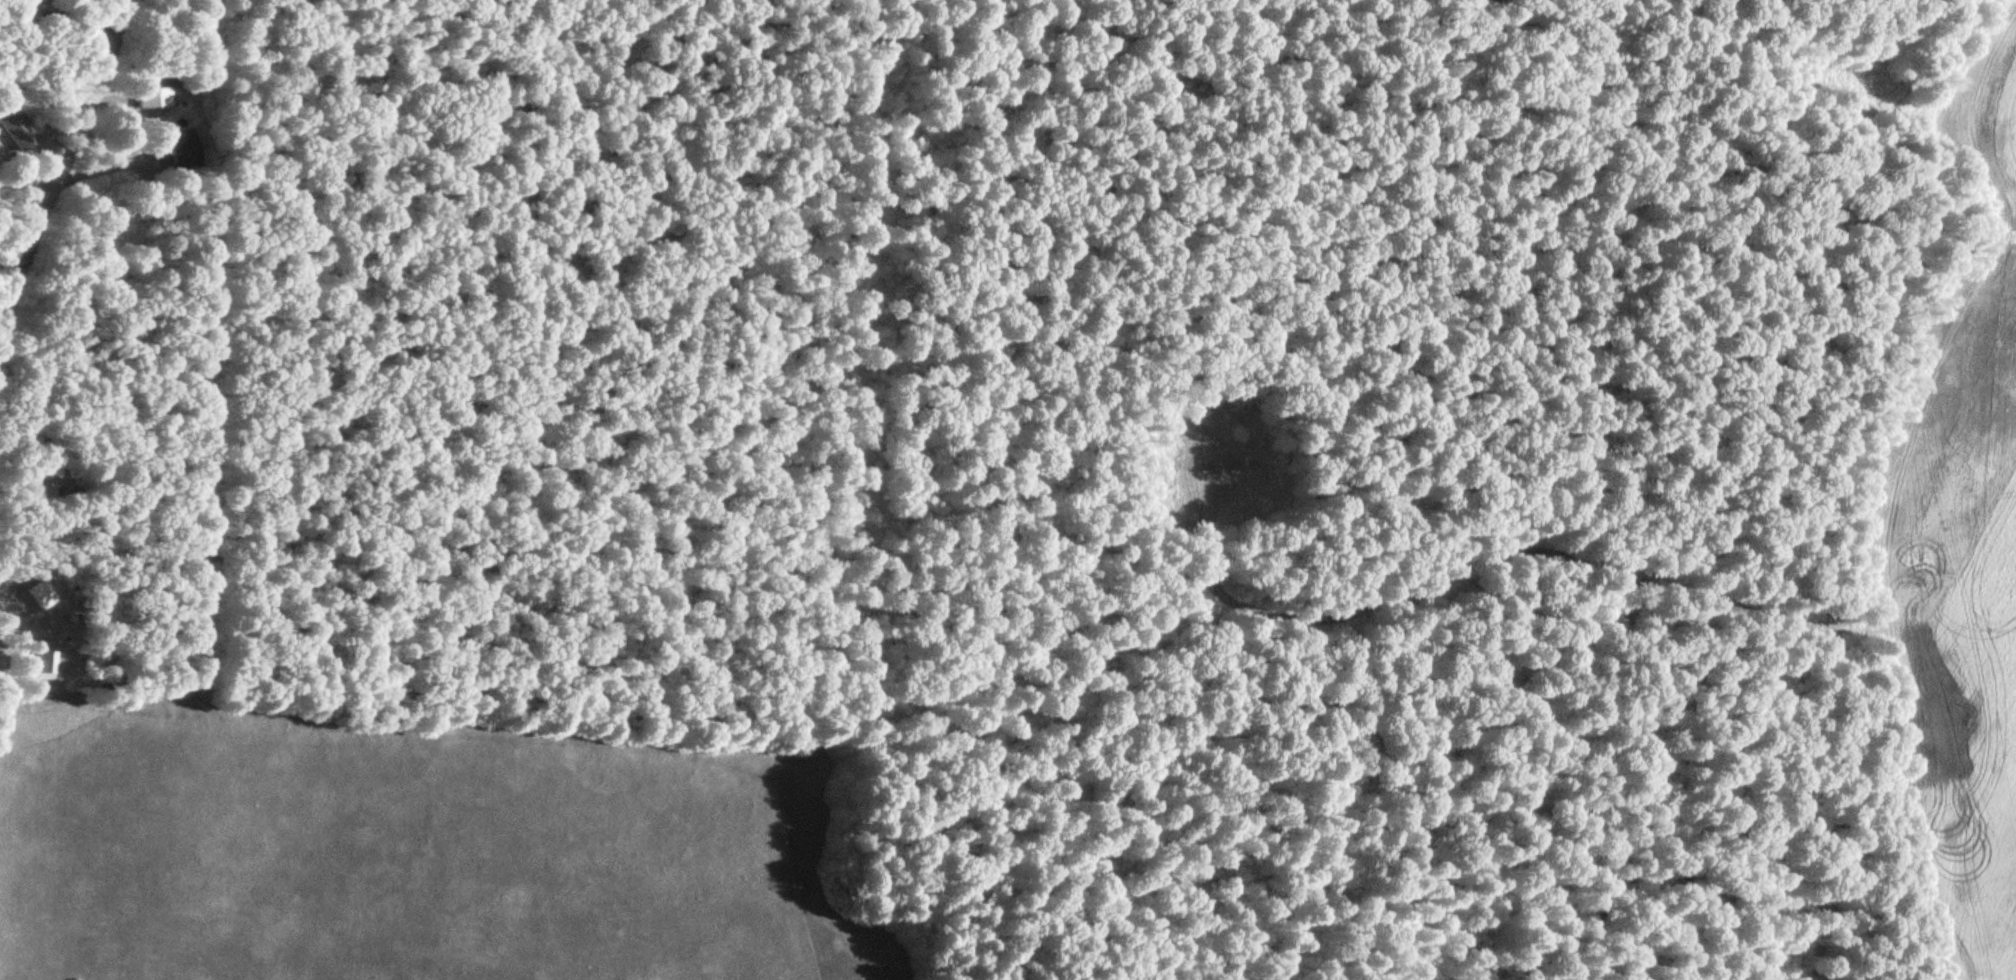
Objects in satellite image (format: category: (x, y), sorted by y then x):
road: (60, 13)
road: (530, 79)
building: (153, 98)
building: (15, 126)
building: (185, 145)
road: (59, 155)
road: (102, 163)
building: (32, 481)
building: (44, 665)

